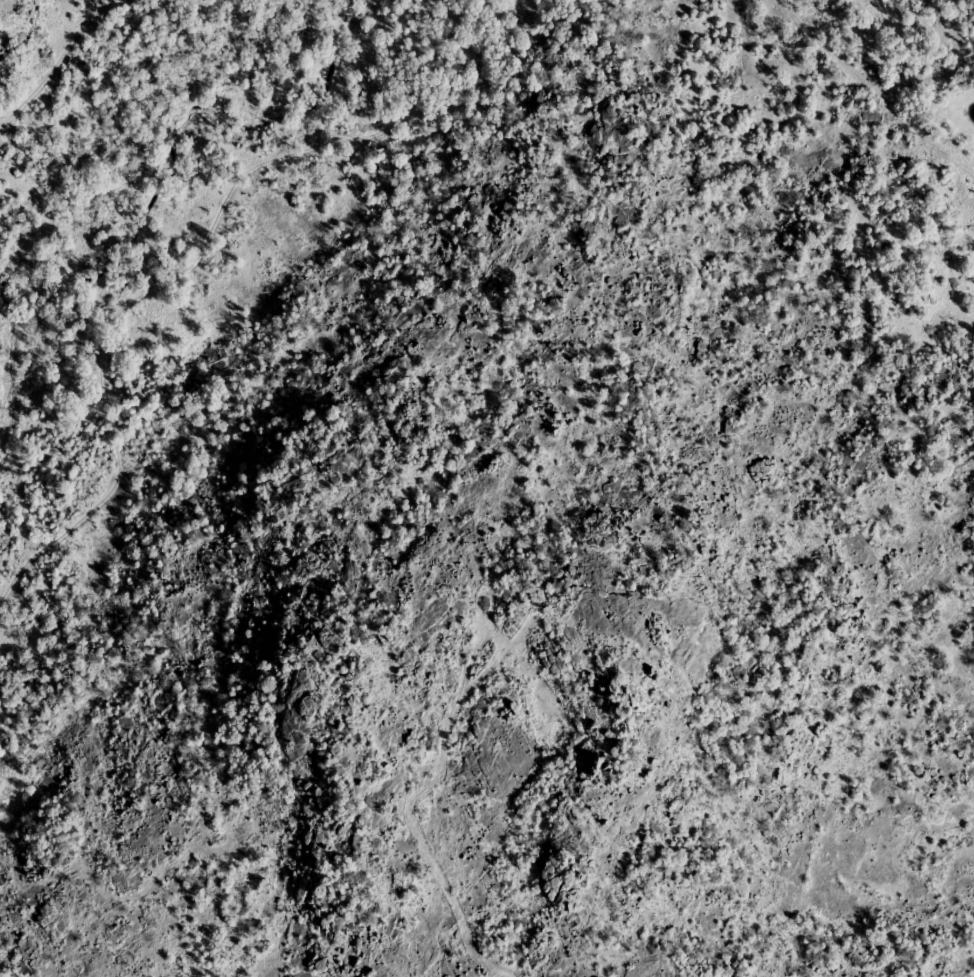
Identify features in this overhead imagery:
road: (55, 62)
road: (873, 98)

